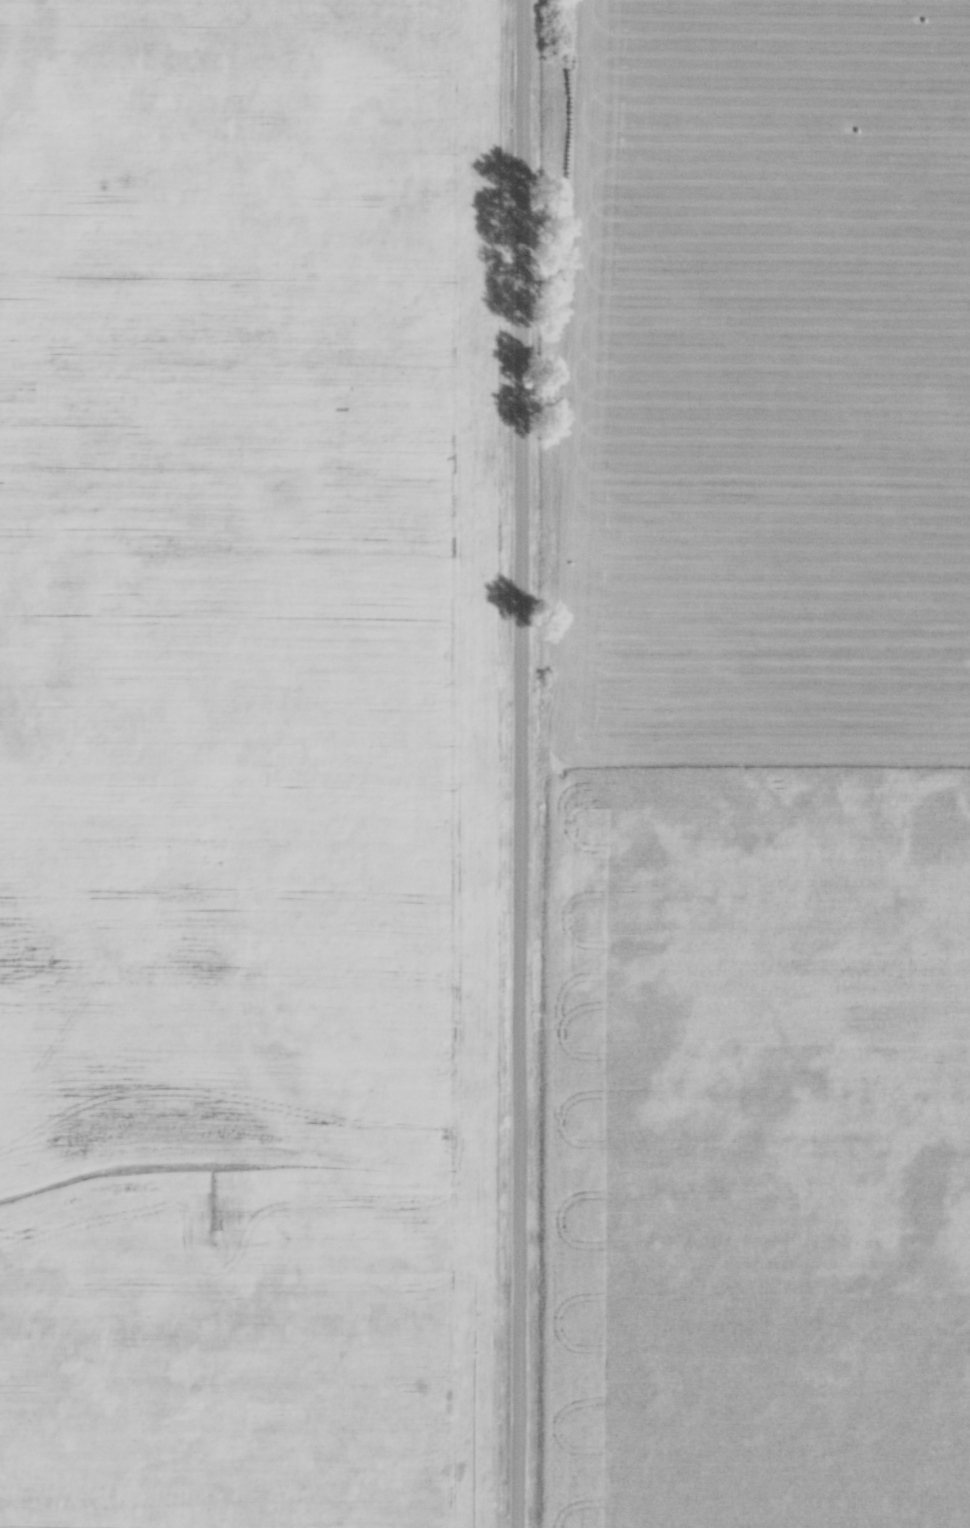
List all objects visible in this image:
road: (507, 764)

